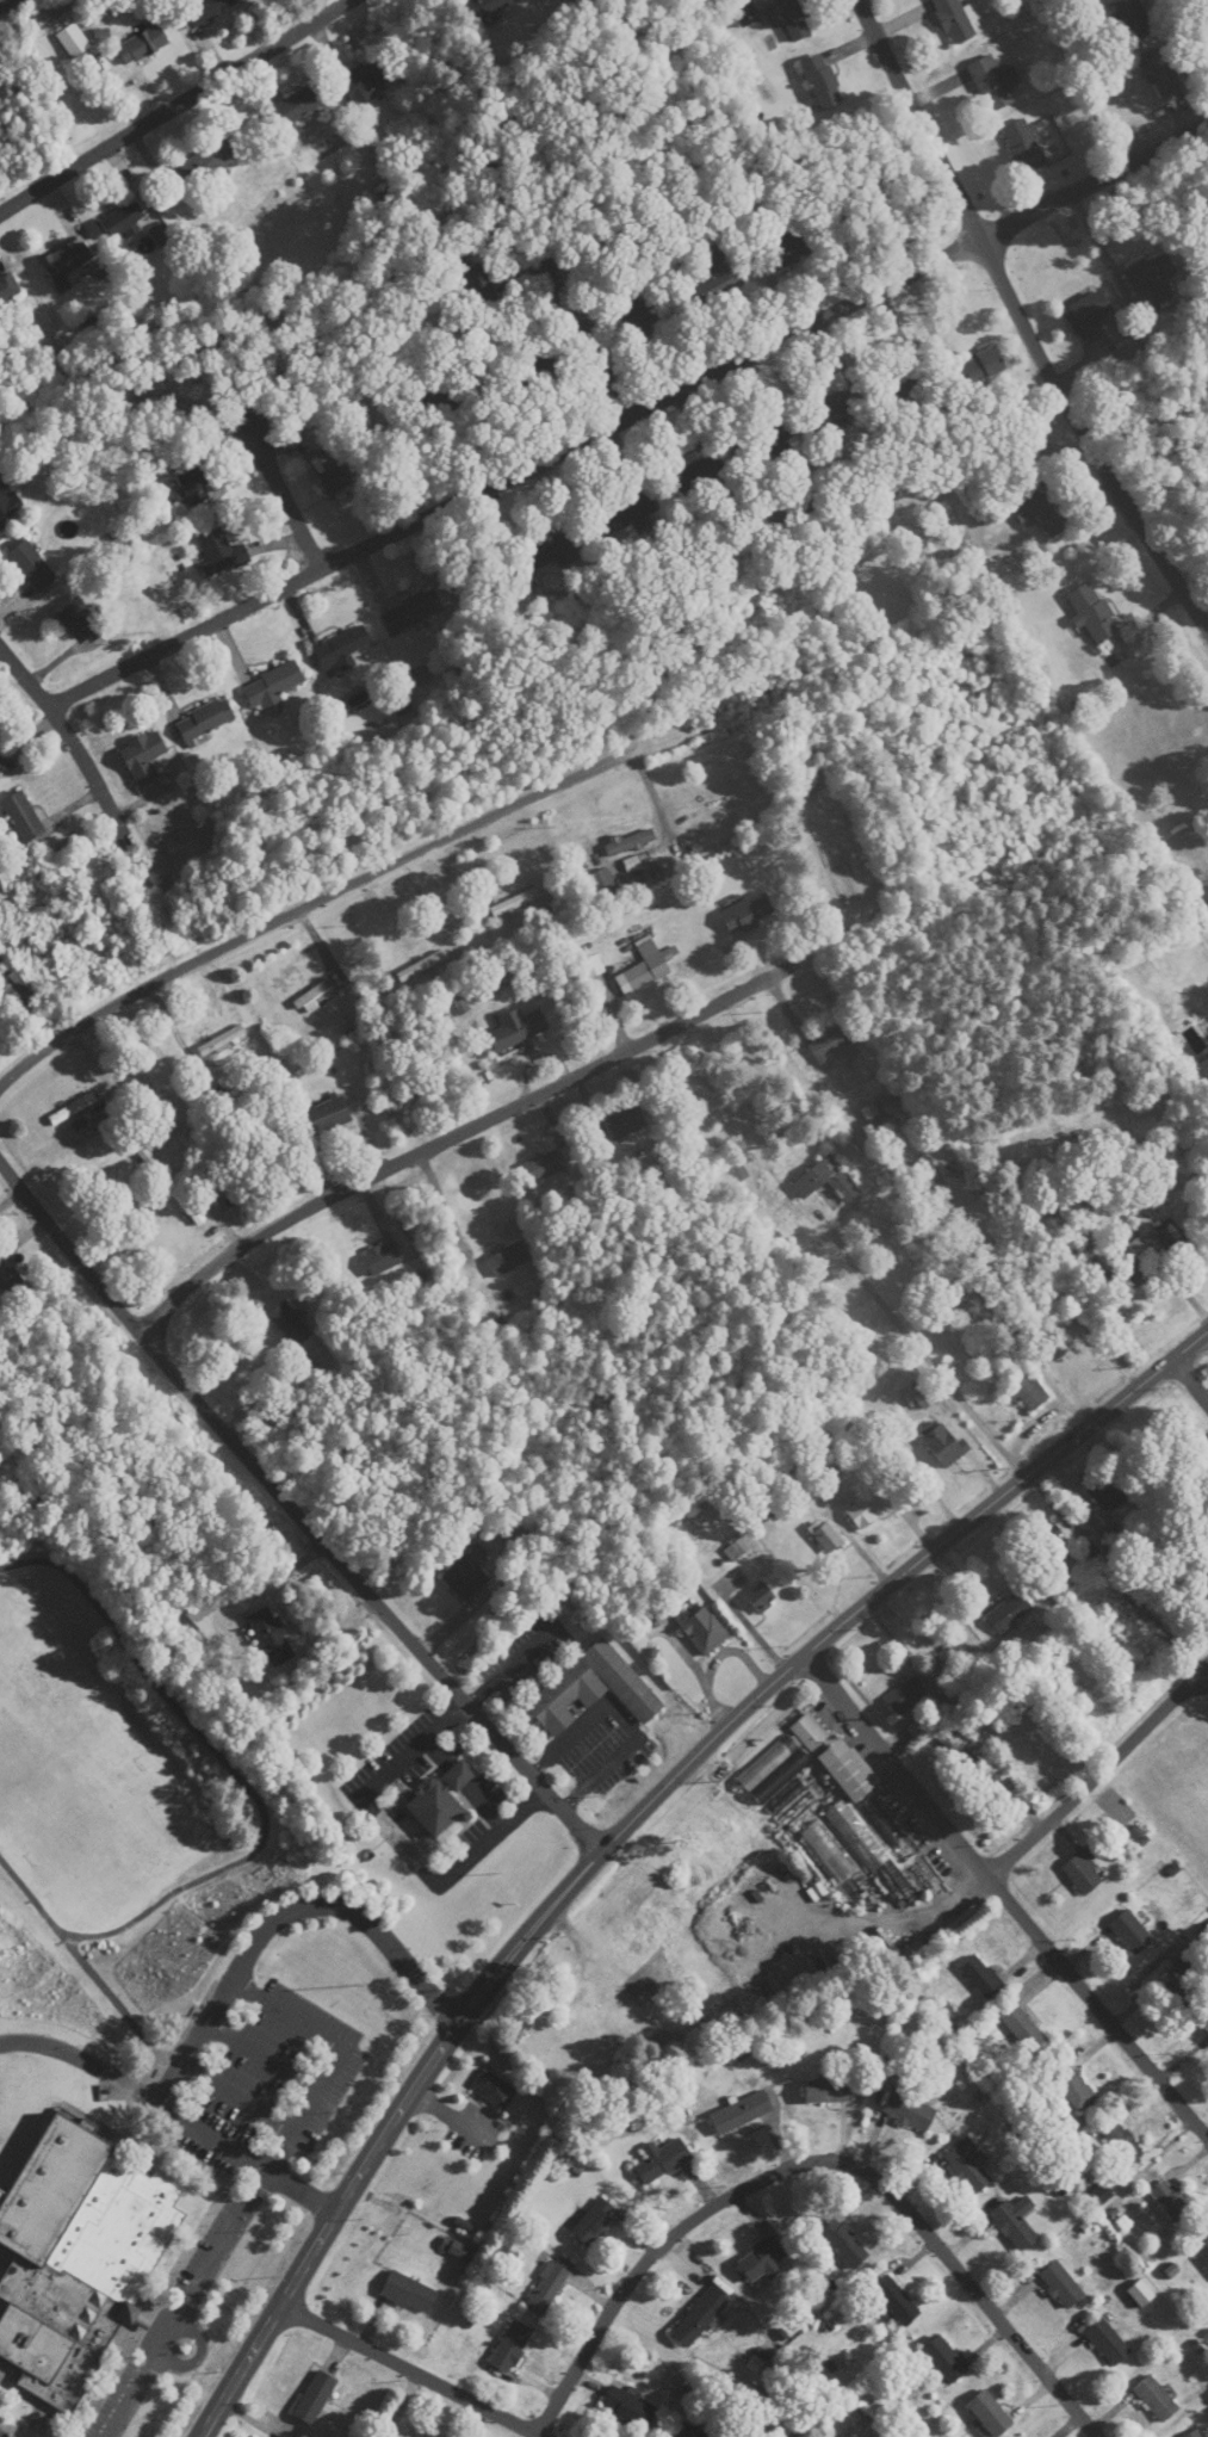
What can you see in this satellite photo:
building: (488, 7)
building: (204, 10)
building: (745, 12)
building: (1130, 17)
building: (793, 19)
building: (954, 20)
building: (73, 41)
building: (142, 44)
building: (1164, 72)
building: (367, 76)
building: (823, 81)
building: (995, 82)
building: (302, 103)
road: (175, 106)
building: (1024, 146)
building: (210, 163)
building: (122, 218)
building: (780, 250)
building: (67, 264)
building: (1152, 277)
building: (718, 278)
building: (477, 284)
building: (8, 289)
building: (636, 315)
building: (1090, 315)
road: (581, 317)
road: (1026, 318)
building: (978, 367)
building: (535, 369)
building: (900, 390)
building: (440, 397)
building: (830, 413)
road: (631, 419)
building: (763, 440)
building: (694, 475)
building: (335, 480)
building: (191, 484)
road: (275, 484)
building: (10, 506)
building: (1041, 511)
building: (626, 514)
building: (552, 545)
building: (221, 553)
building: (32, 565)
building: (411, 612)
building: (1092, 612)
building: (81, 620)
building: (342, 651)
building: (272, 687)
building: (205, 720)
building: (143, 756)
building: (1, 763)
road: (88, 768)
building: (23, 817)
building: (630, 842)
building: (602, 883)
road: (343, 891)
building: (747, 914)
building: (649, 965)
building: (421, 966)
building: (21, 992)
building: (317, 997)
building: (832, 1043)
building: (73, 1109)
building: (327, 1113)
road: (497, 1113)
building: (142, 1150)
building: (543, 1168)
building: (731, 1173)
building: (826, 1181)
road: (441, 1201)
building: (1161, 1237)
building: (384, 1257)
building: (512, 1257)
building: (11, 1279)
building: (290, 1324)
road: (1190, 1381)
building: (1026, 1388)
building: (1107, 1493)
building: (873, 1505)
road: (295, 1507)
building: (828, 1538)
building: (1048, 1542)
building: (465, 1578)
building: (762, 1597)
building: (1009, 1612)
building: (180, 1627)
building: (705, 1631)
building: (271, 1634)
building: (563, 1690)
building: (905, 1695)
building: (810, 1731)
road: (229, 1767)
building: (849, 1768)
road: (1099, 1773)
building: (441, 1799)
road: (632, 1819)
building: (886, 1831)
building: (857, 1836)
road: (401, 1838)
building: (829, 1851)
building: (1084, 1874)
road: (1005, 1897)
road: (280, 1913)
road: (892, 1918)
building: (1130, 1931)
road: (85, 1969)
building: (983, 1977)
building: (1183, 1986)
building: (1026, 2030)
building: (1207, 2040)
road: (337, 2054)
building: (1074, 2089)
building: (829, 2091)
building: (911, 2107)
building: (743, 2113)
road: (172, 2115)
building: (1123, 2144)
building: (662, 2160)
road: (820, 2161)
building: (968, 2166)
building: (1170, 2202)
building: (594, 2221)
building: (1016, 2222)
building: (845, 2243)
road: (223, 2247)
building: (458, 2250)
building: (1203, 2253)
building: (76, 2257)
building: (763, 2259)
building: (550, 2284)
building: (1063, 2286)
building: (409, 2293)
building: (897, 2301)
building: (700, 2315)
road: (160, 2331)
building: (1109, 2342)
building: (512, 2346)
building: (944, 2359)
road: (404, 2373)
road: (135, 2396)
building: (315, 2396)
building: (1157, 2399)
building: (630, 2408)
building: (991, 2413)
building: (688, 2431)
building: (1196, 2433)
building: (281, 2435)

